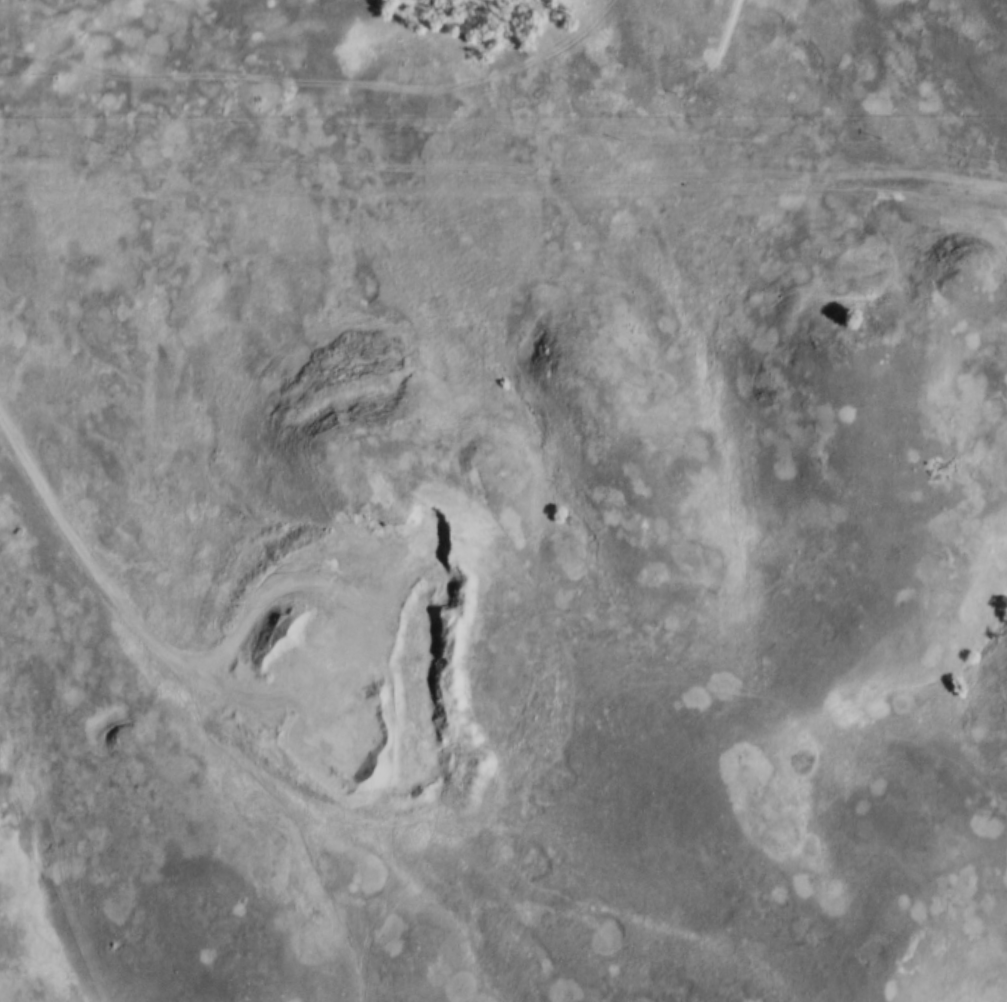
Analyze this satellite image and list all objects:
road: (504, 168)
road: (183, 677)

